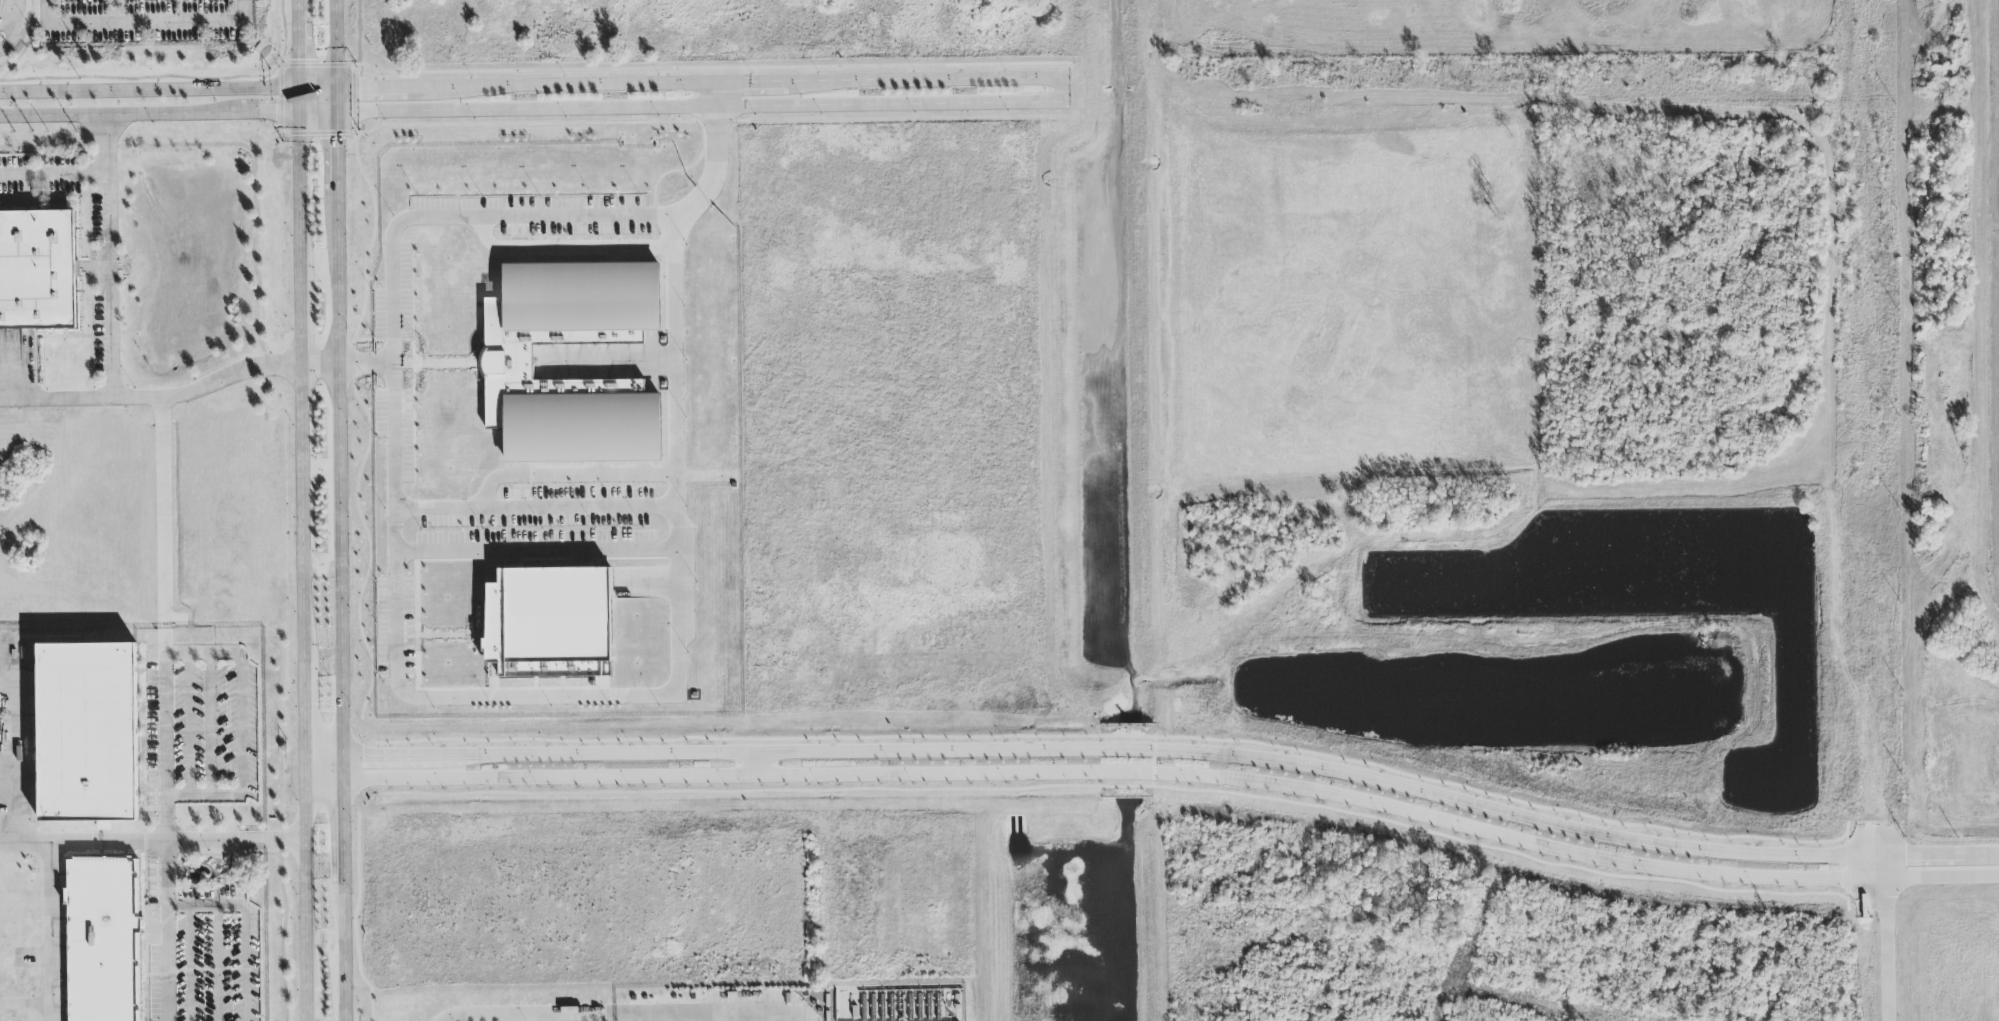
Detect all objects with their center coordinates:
road: (296, 4)
road: (241, 11)
road: (11, 12)
road: (130, 23)
road: (11, 34)
road: (26, 44)
road: (334, 56)
road: (297, 60)
road: (176, 77)
road: (288, 79)
road: (536, 85)
road: (1074, 92)
road: (716, 96)
road: (537, 110)
road: (336, 154)
road: (54, 175)
road: (713, 177)
road: (298, 187)
road: (110, 258)
building: (37, 270)
road: (300, 312)
road: (318, 363)
building: (508, 363)
road: (10, 367)
road: (153, 400)
road: (337, 478)
road: (302, 508)
road: (535, 516)
road: (161, 528)
road: (536, 561)
road: (678, 588)
building: (549, 623)
road: (304, 712)
road: (187, 725)
road: (210, 725)
road: (241, 728)
building: (87, 733)
road: (19, 744)
road: (1174, 752)
road: (756, 765)
road: (322, 766)
road: (340, 770)
road: (1174, 773)
road: (322, 775)
road: (204, 797)
road: (167, 799)
road: (340, 831)
road: (151, 842)
road: (303, 874)
road: (206, 905)
road: (52, 932)
road: (1887, 938)
building: (103, 940)
road: (341, 952)
road: (189, 963)
road: (218, 963)
road: (244, 963)
road: (305, 999)
road: (26, 1005)
road: (595, 1013)

